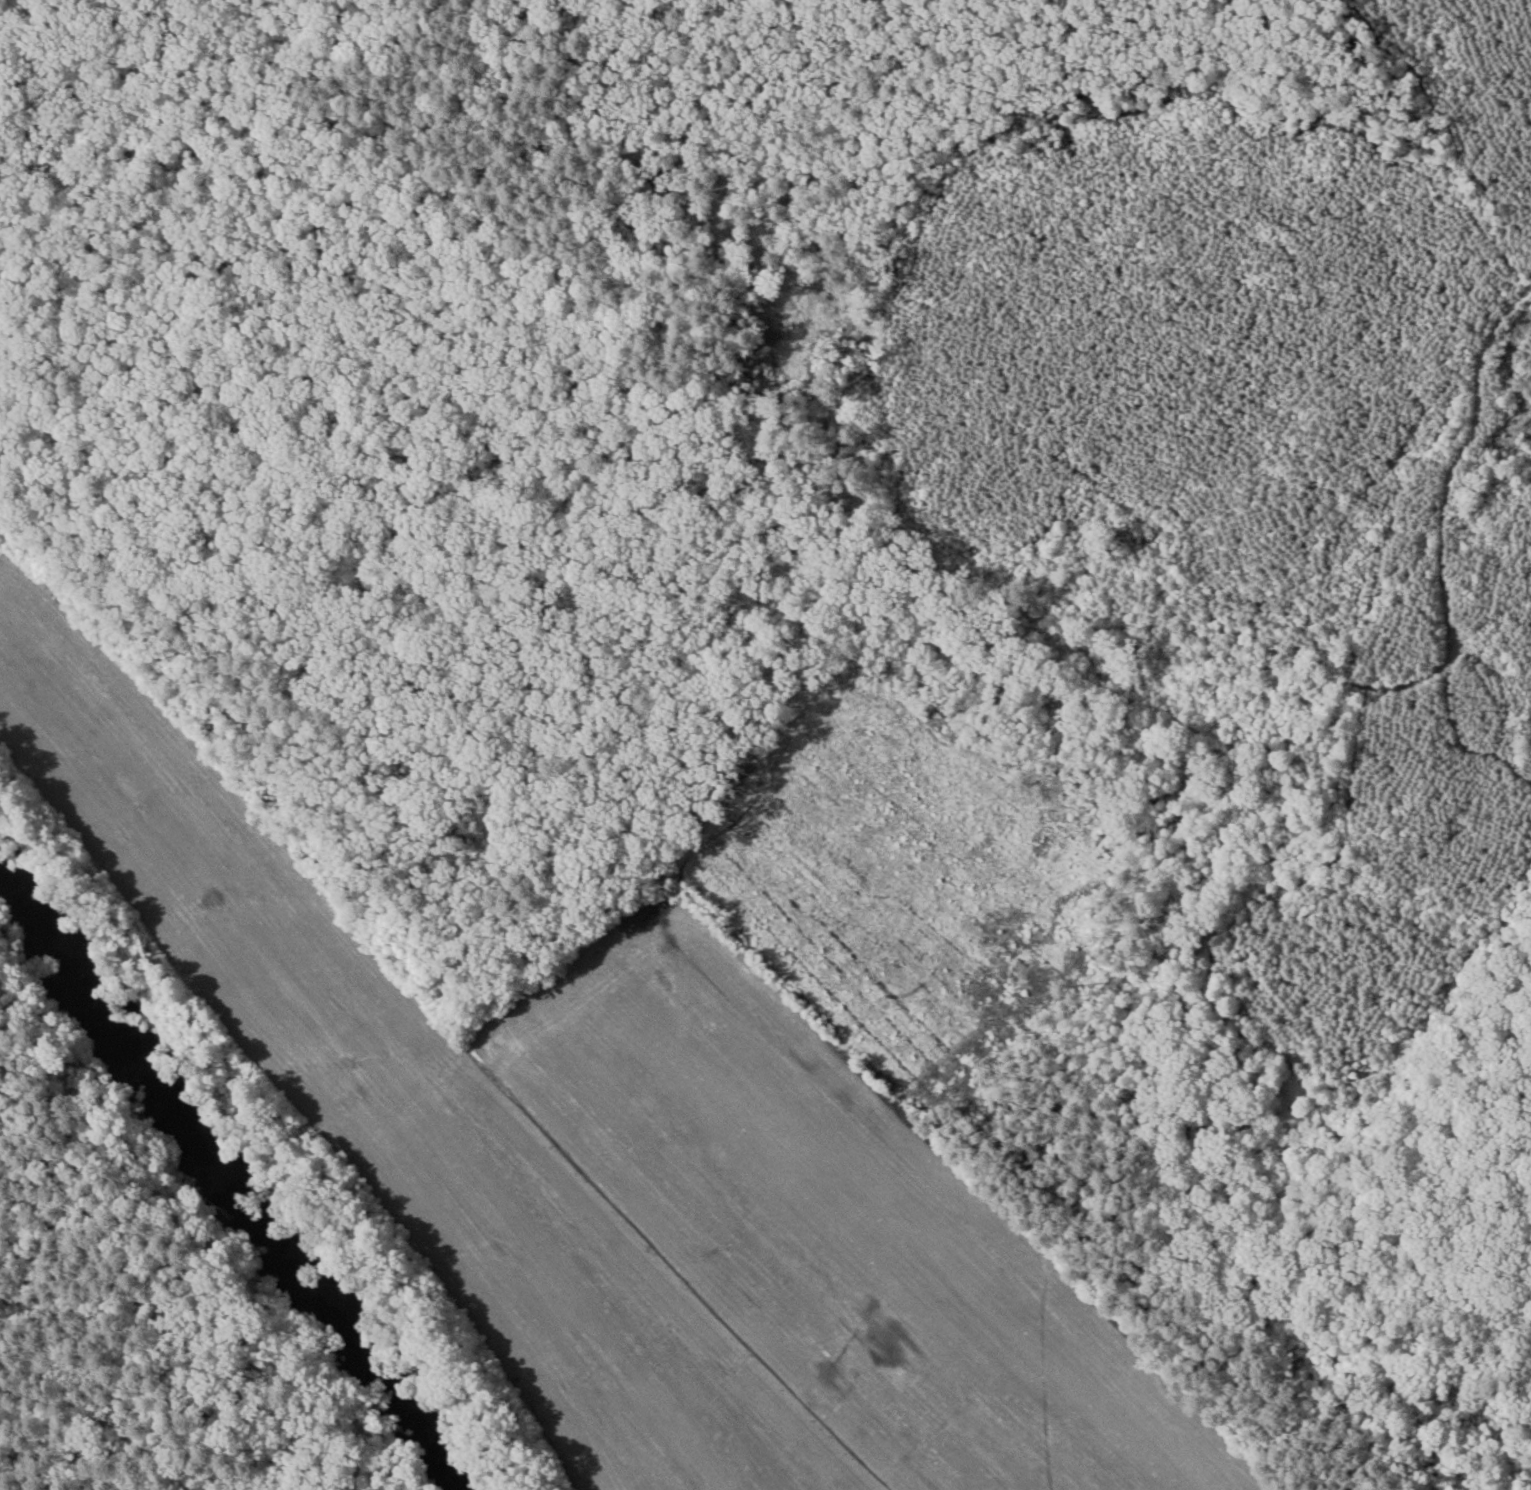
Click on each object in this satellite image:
river: (236, 1180)

